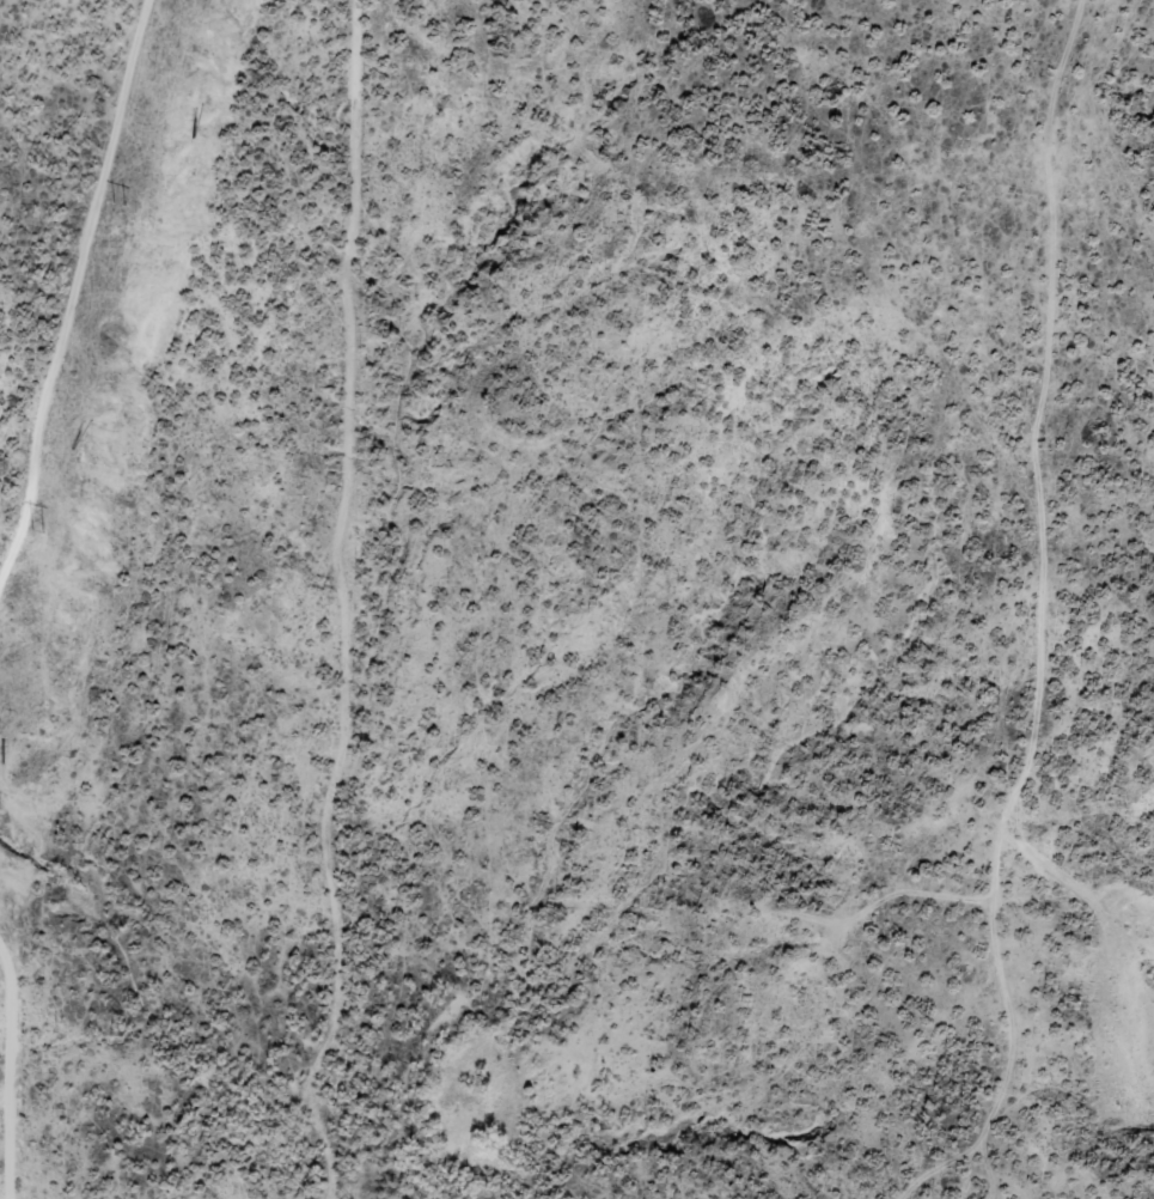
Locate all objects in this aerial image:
power tower: (124, 201)
power tower: (38, 529)

